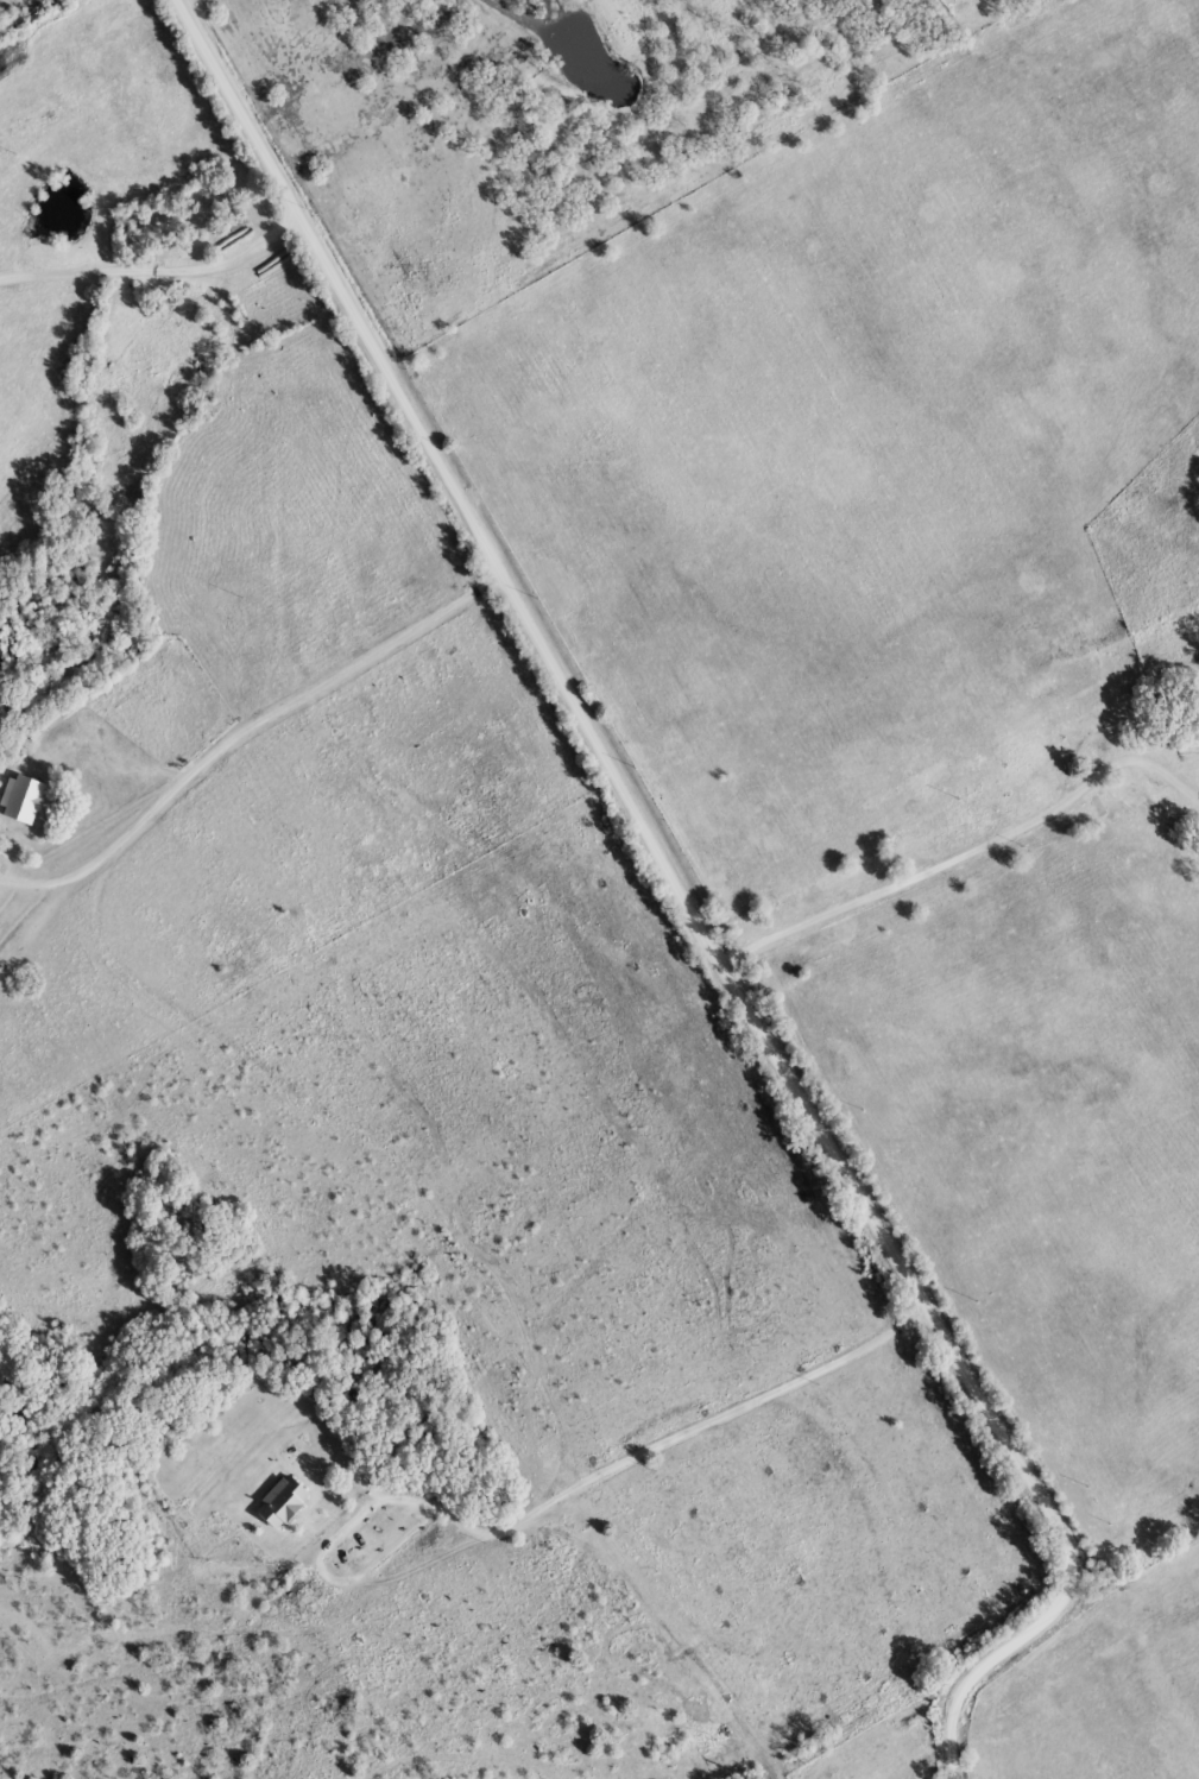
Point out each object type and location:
building: (233, 217)
road: (156, 267)
road: (241, 726)
building: (13, 800)
road: (967, 845)
road: (686, 900)
road: (548, 1501)
building: (278, 1503)

